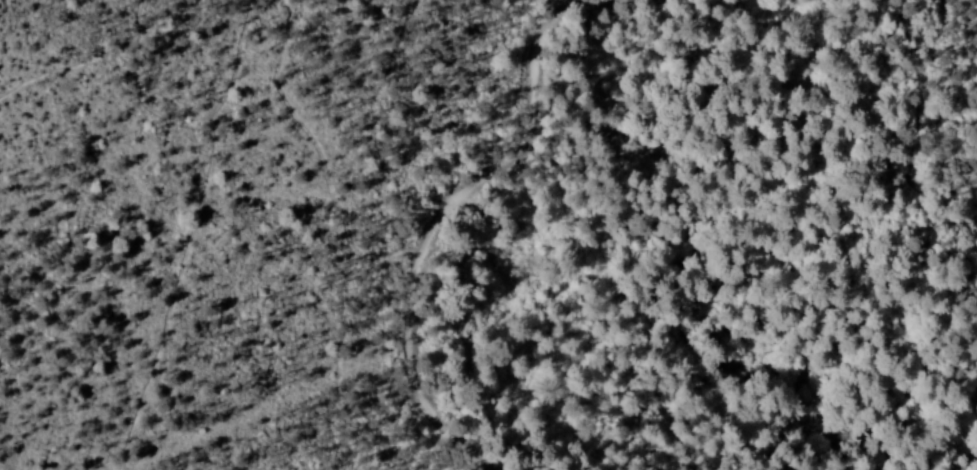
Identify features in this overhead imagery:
road: (464, 208)

